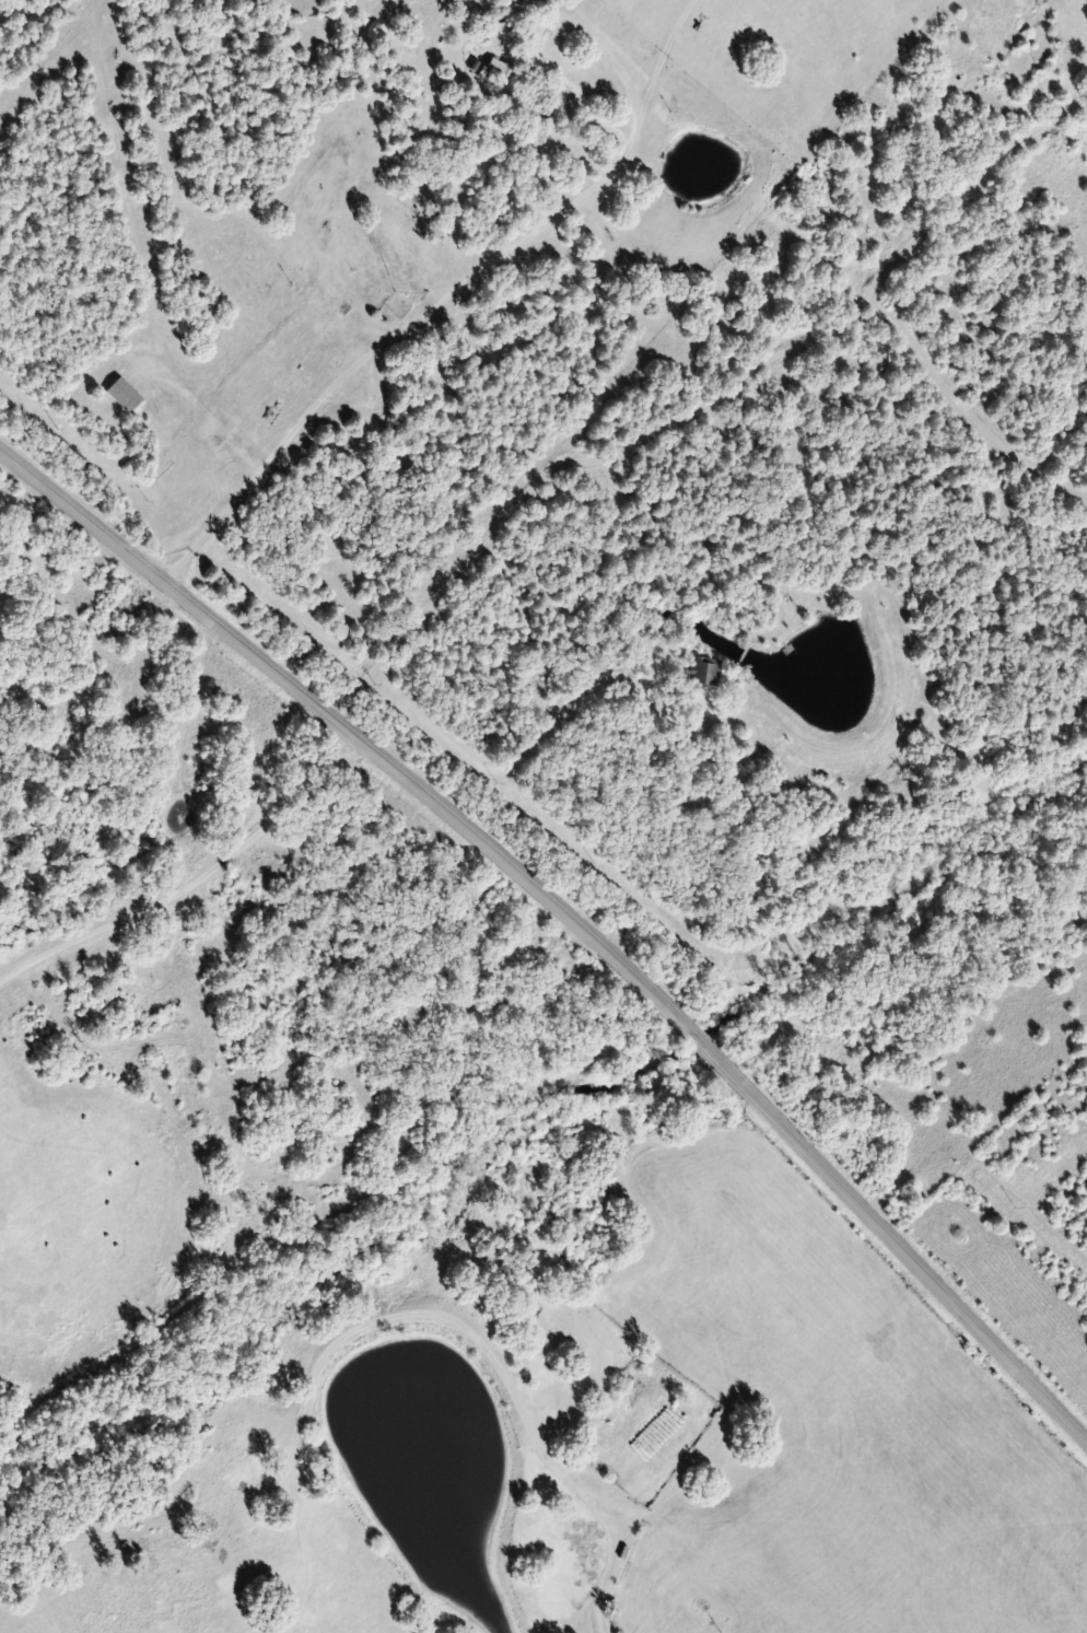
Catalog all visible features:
road: (54, 49)
building: (494, 72)
road: (81, 387)
building: (121, 394)
road: (287, 576)
road: (775, 608)
building: (703, 670)
road: (192, 886)
road: (572, 920)

